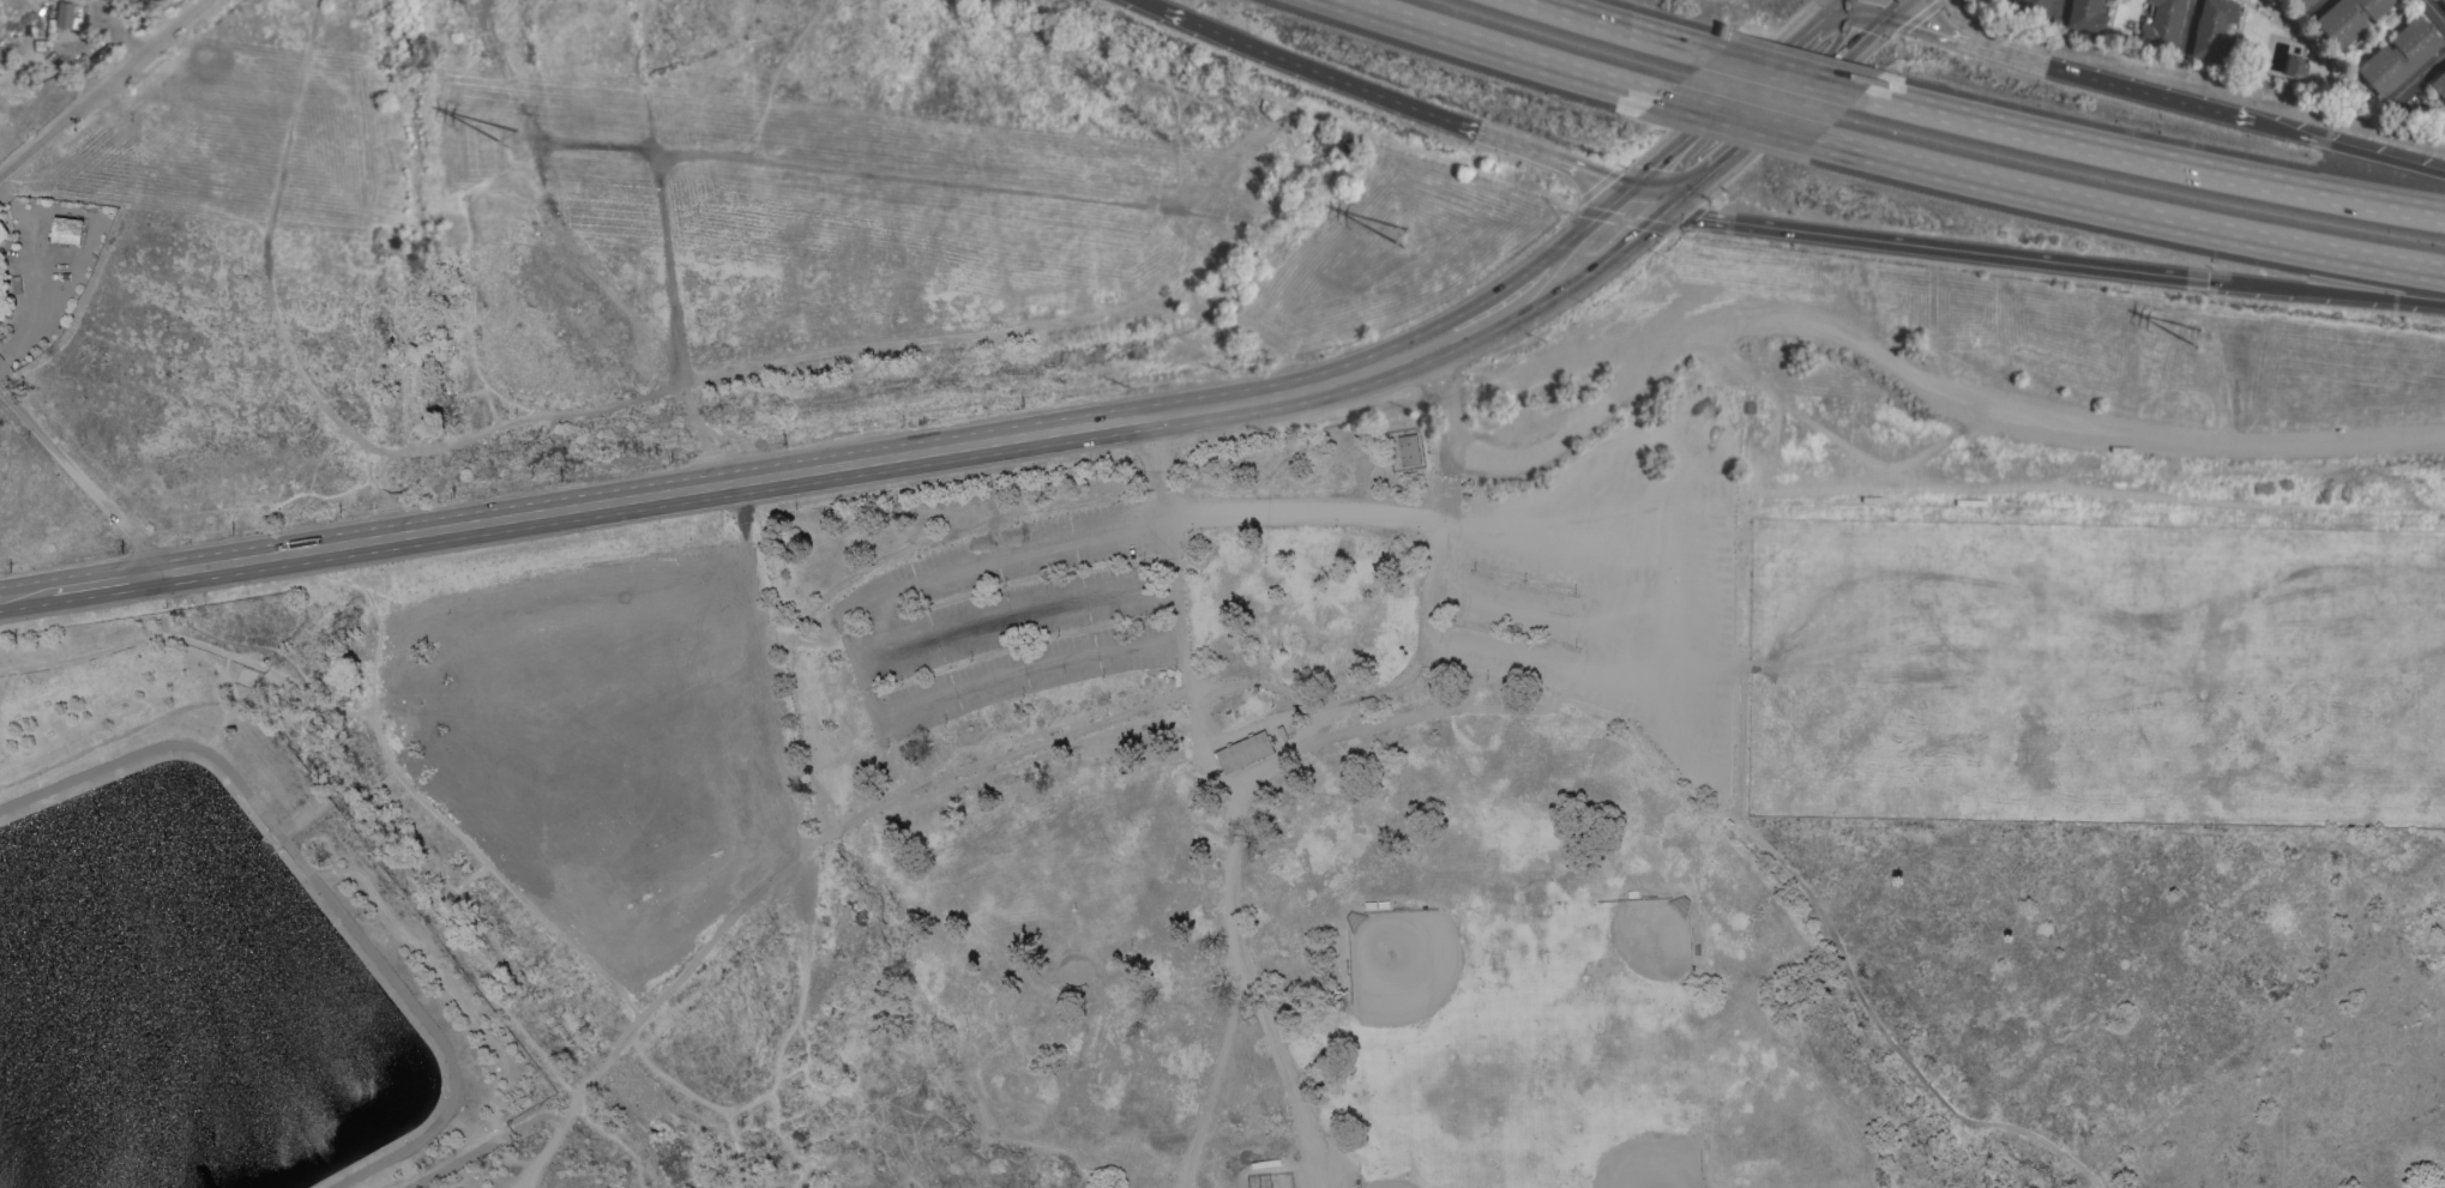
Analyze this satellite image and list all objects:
building: (2444, 0)
building: (2306, 2)
road: (1149, 6)
road: (1880, 6)
road: (1901, 6)
building: (2033, 6)
road: (2056, 6)
road: (2314, 6)
building: (66, 13)
traffic signals: (1893, 13)
building: (2088, 14)
road: (2432, 14)
building: (2350, 18)
building: (2163, 22)
road: (118, 28)
road: (1625, 28)
building: (2215, 29)
road: (1502, 50)
building: (2401, 55)
building: (2296, 65)
road: (2422, 70)
road: (1788, 73)
road: (2072, 77)
building: (2440, 83)
road: (101, 86)
road: (1735, 96)
road: (1396, 97)
road: (1783, 110)
road: (1738, 119)
power tower: (517, 144)
road: (2350, 149)
road: (2149, 159)
traffic signals: (1626, 192)
road: (1649, 199)
traffic signals: (1673, 207)
road: (2125, 213)
road: (1584, 227)
building: (66, 230)
building: (1, 236)
power tower: (1409, 240)
road: (1939, 247)
road: (1615, 248)
traffic signals: (2208, 279)
building: (16, 284)
road: (2325, 291)
road: (26, 302)
road: (1493, 310)
power tower: (2205, 338)
road: (1919, 378)
road: (1447, 435)
building: (1408, 450)
road: (795, 472)
road: (78, 481)
road: (1710, 505)
road: (1168, 542)
parking lot: (1026, 550)
road: (1570, 563)
parking lot: (1603, 579)
road: (104, 581)
road: (26, 592)
road: (1517, 602)
road: (1012, 613)
parking lot: (1016, 617)
road: (1423, 650)
road: (856, 665)
park: (1848, 668)
park: (2035, 670)
parking lot: (1029, 673)
park: (2216, 676)
park: (2377, 677)
road: (1308, 719)
road: (1243, 728)
building: (1243, 750)
road: (970, 768)
road: (1239, 930)
park: (213, 936)
park: (1634, 958)
park: (1414, 964)
road: (612, 1050)
park: (1642, 1139)
park: (1425, 1142)

